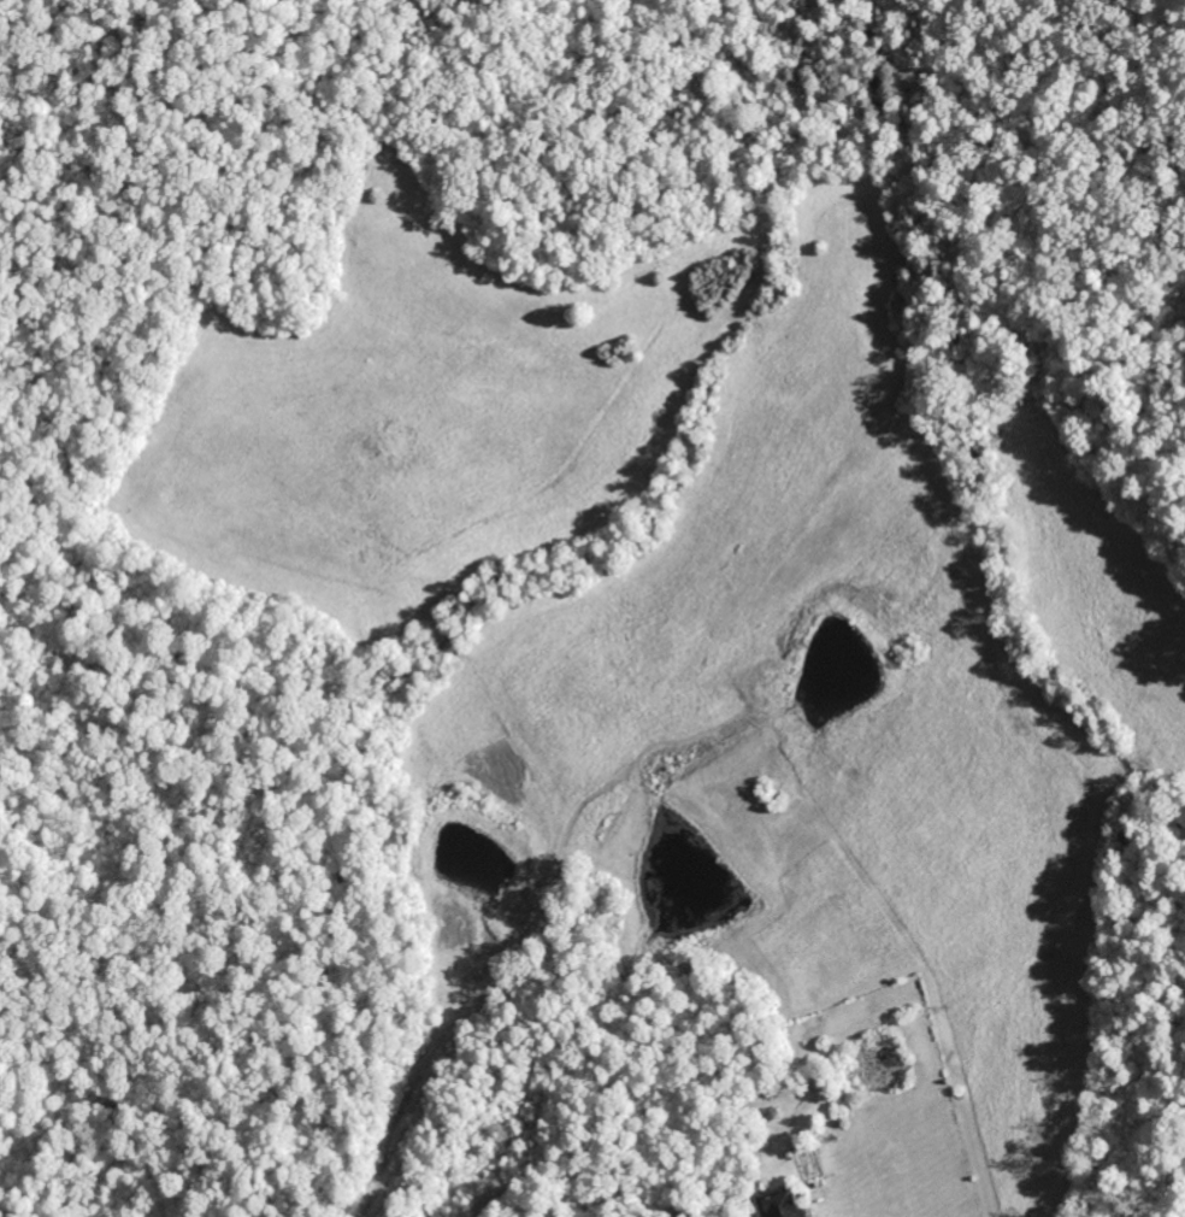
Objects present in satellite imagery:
building: (784, 1204)

